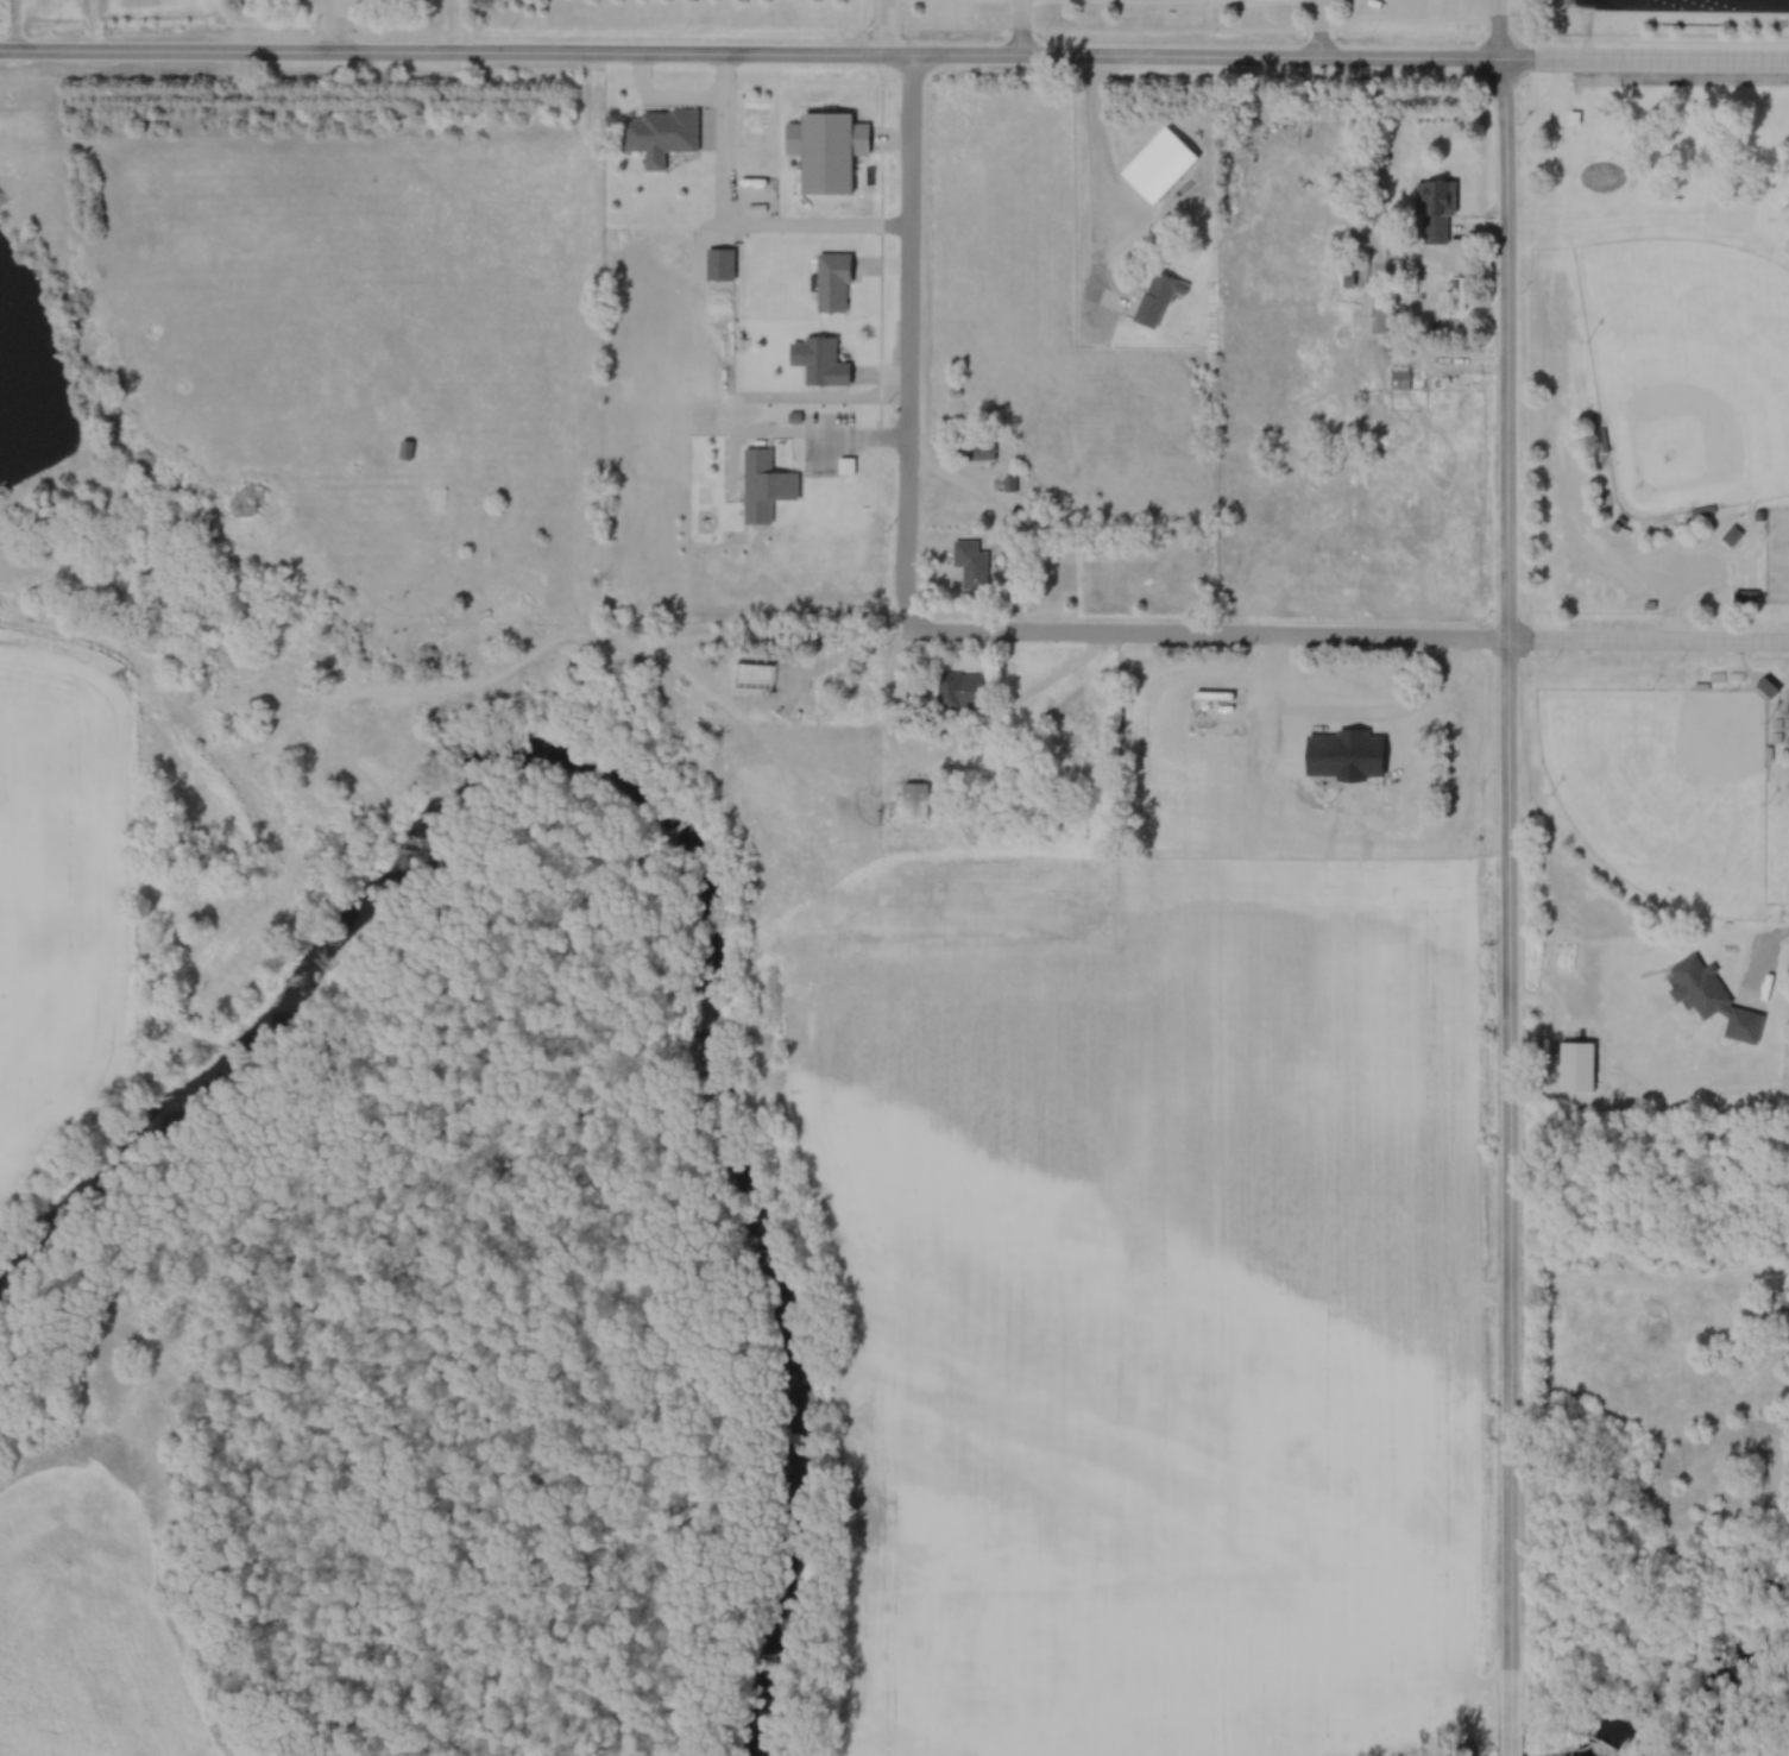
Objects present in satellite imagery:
road: (18, 23)
road: (335, 23)
road: (887, 26)
road: (1021, 26)
road: (1321, 27)
road: (1495, 30)
road: (748, 50)
road: (1642, 59)
building: (659, 134)
building: (825, 150)
building: (1155, 165)
road: (1095, 188)
building: (1432, 209)
building: (718, 264)
building: (831, 283)
building: (1155, 297)
building: (1379, 319)
road: (912, 352)
building: (821, 363)
park: (1687, 370)
building: (1397, 379)
building: (978, 451)
building: (763, 485)
building: (1730, 537)
building: (969, 564)
building: (1741, 598)
road: (1224, 629)
road: (1646, 640)
building: (1764, 687)
building: (957, 691)
road: (1026, 691)
building: (805, 716)
park: (1662, 789)
building: (792, 797)
building: (911, 800)
road: (1508, 907)
building: (1636, 1255)

